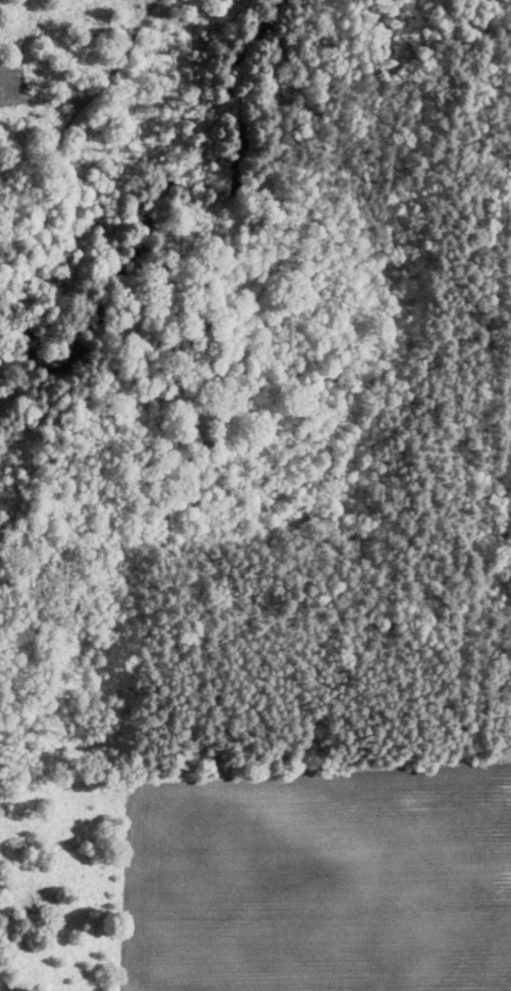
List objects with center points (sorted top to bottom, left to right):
crop: (319, 881)

